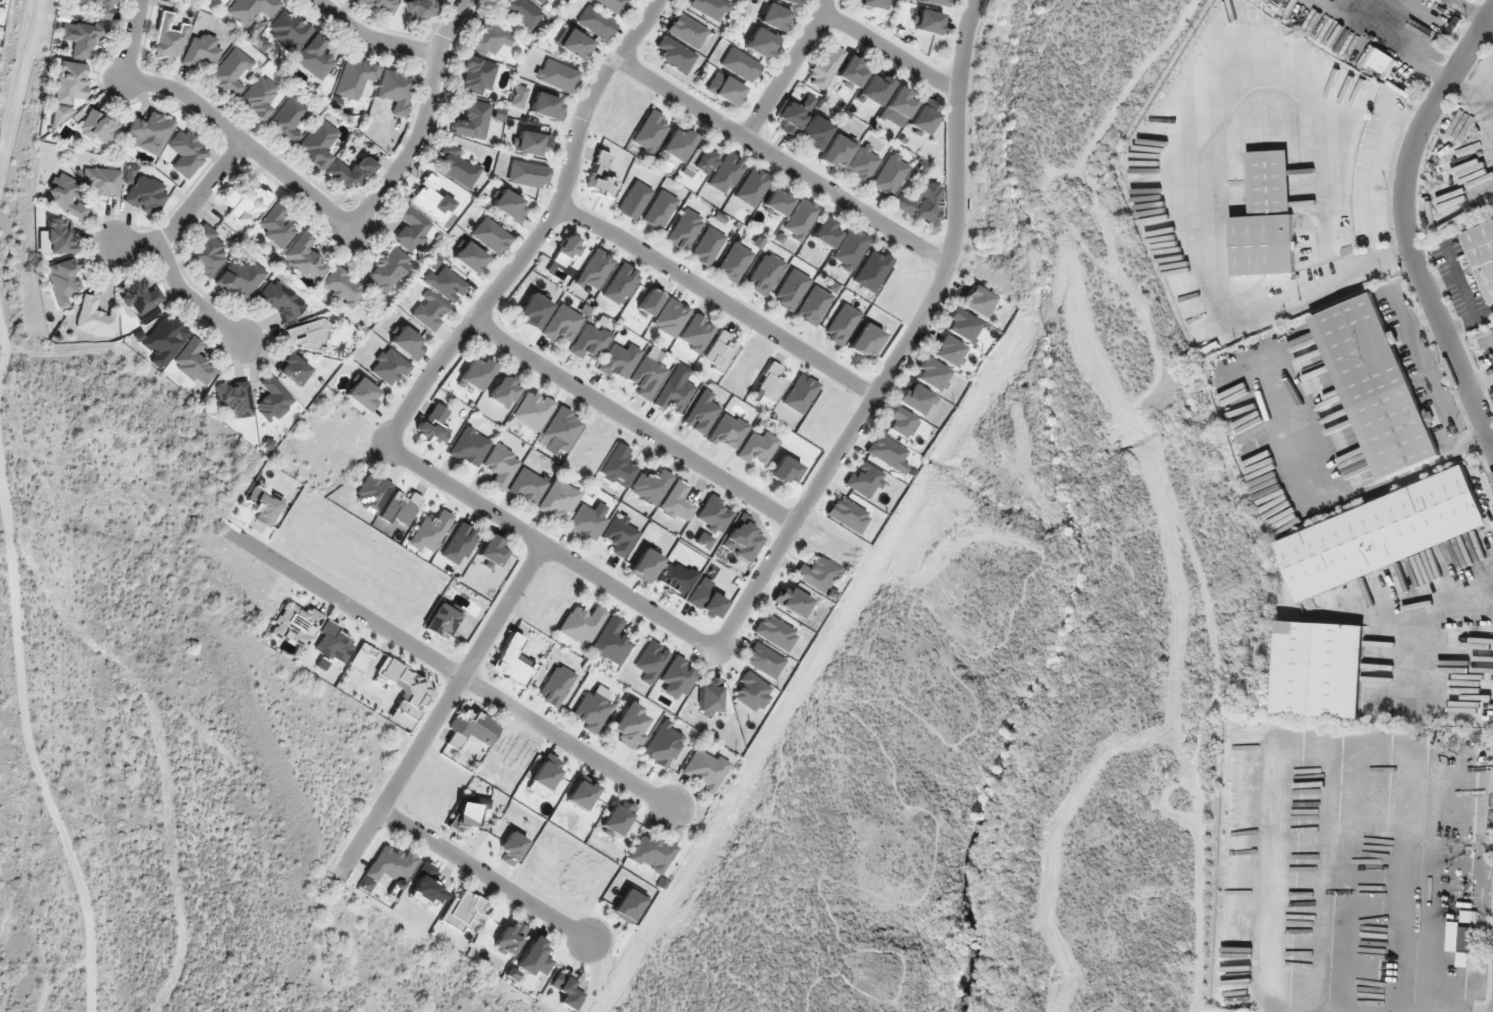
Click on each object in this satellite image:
building: (227, 0)
building: (791, 1)
building: (543, 2)
building: (935, 2)
building: (870, 3)
building: (381, 5)
building: (613, 5)
building: (100, 8)
building: (420, 8)
building: (710, 8)
building: (252, 10)
building: (521, 12)
building: (0, 17)
building: (774, 17)
building: (926, 22)
building: (596, 23)
building: (687, 30)
building: (288, 31)
road: (373, 37)
building: (84, 38)
road: (131, 38)
building: (168, 38)
building: (487, 38)
building: (759, 43)
building: (574, 44)
building: (200, 50)
road: (888, 52)
building: (675, 54)
building: (314, 58)
building: (740, 64)
building: (824, 66)
road: (786, 69)
building: (851, 71)
building: (229, 73)
building: (477, 75)
building: (556, 75)
building: (355, 77)
building: (70, 82)
building: (724, 88)
building: (875, 88)
building: (395, 90)
building: (258, 98)
building: (900, 103)
building: (547, 106)
building: (793, 115)
building: (923, 116)
building: (287, 120)
road: (423, 120)
building: (471, 120)
building: (99, 127)
building: (814, 132)
building: (148, 133)
building: (650, 133)
road: (245, 140)
building: (317, 143)
building: (531, 143)
building: (676, 144)
building: (836, 151)
building: (186, 152)
building: (701, 160)
road: (782, 161)
building: (863, 164)
building: (456, 166)
building: (350, 173)
building: (726, 173)
building: (528, 174)
building: (889, 174)
building: (601, 179)
building: (102, 181)
building: (752, 187)
road: (204, 192)
building: (146, 195)
building: (65, 196)
building: (634, 200)
building: (432, 202)
building: (247, 203)
building: (776, 203)
building: (921, 203)
building: (509, 205)
building: (659, 210)
building: (1443, 214)
building: (1265, 218)
building: (800, 219)
road: (1406, 223)
building: (276, 225)
building: (411, 228)
building: (684, 229)
building: (825, 232)
building: (491, 236)
building: (59, 237)
road: (136, 243)
building: (707, 246)
building: (849, 249)
building: (207, 251)
building: (569, 253)
building: (1481, 253)
building: (305, 257)
building: (470, 257)
building: (733, 262)
building: (387, 269)
building: (594, 270)
building: (872, 270)
building: (764, 273)
building: (240, 278)
building: (63, 281)
building: (446, 284)
building: (621, 284)
building: (342, 287)
building: (790, 289)
building: (140, 296)
road: (716, 298)
road: (189, 299)
building: (976, 300)
building: (280, 301)
building: (812, 305)
building: (430, 311)
building: (534, 311)
building: (95, 317)
building: (670, 317)
building: (562, 323)
building: (841, 324)
building: (959, 324)
building: (696, 333)
building: (307, 336)
building: (166, 339)
building: (1485, 339)
building: (865, 340)
building: (590, 341)
building: (408, 343)
building: (720, 351)
building: (947, 351)
building: (618, 361)
building: (194, 362)
building: (389, 367)
building: (292, 369)
building: (477, 373)
building: (929, 373)
building: (647, 377)
building: (770, 383)
building: (1375, 386)
building: (504, 391)
building: (362, 393)
building: (800, 393)
building: (674, 396)
building: (234, 398)
building: (913, 398)
building: (272, 400)
building: (533, 409)
building: (702, 412)
building: (898, 423)
road: (633, 424)
building: (435, 425)
building: (560, 431)
building: (470, 447)
building: (757, 447)
building: (884, 451)
building: (500, 465)
building: (618, 466)
building: (784, 471)
building: (864, 480)
building: (527, 486)
building: (650, 486)
building: (372, 492)
building: (558, 498)
building: (677, 503)
building: (401, 509)
building: (713, 514)
building: (847, 514)
building: (586, 522)
building: (430, 531)
building: (1381, 533)
building: (741, 538)
building: (459, 544)
building: (493, 552)
building: (645, 565)
building: (817, 574)
road: (630, 597)
building: (791, 600)
building: (443, 619)
building: (581, 624)
building: (774, 632)
building: (611, 641)
building: (763, 660)
building: (513, 662)
road: (446, 668)
building: (1320, 669)
building: (678, 675)
building: (556, 685)
building: (406, 688)
building: (750, 692)
building: (708, 696)
road: (440, 710)
building: (591, 710)
building: (630, 725)
building: (472, 729)
building: (663, 744)
building: (704, 769)
building: (547, 771)
building: (582, 793)
building: (617, 818)
building: (511, 848)
building: (651, 853)
building: (391, 865)
road: (483, 876)
building: (627, 905)
building: (461, 911)
building: (510, 936)
building: (1459, 942)
building: (534, 957)
building: (568, 988)

